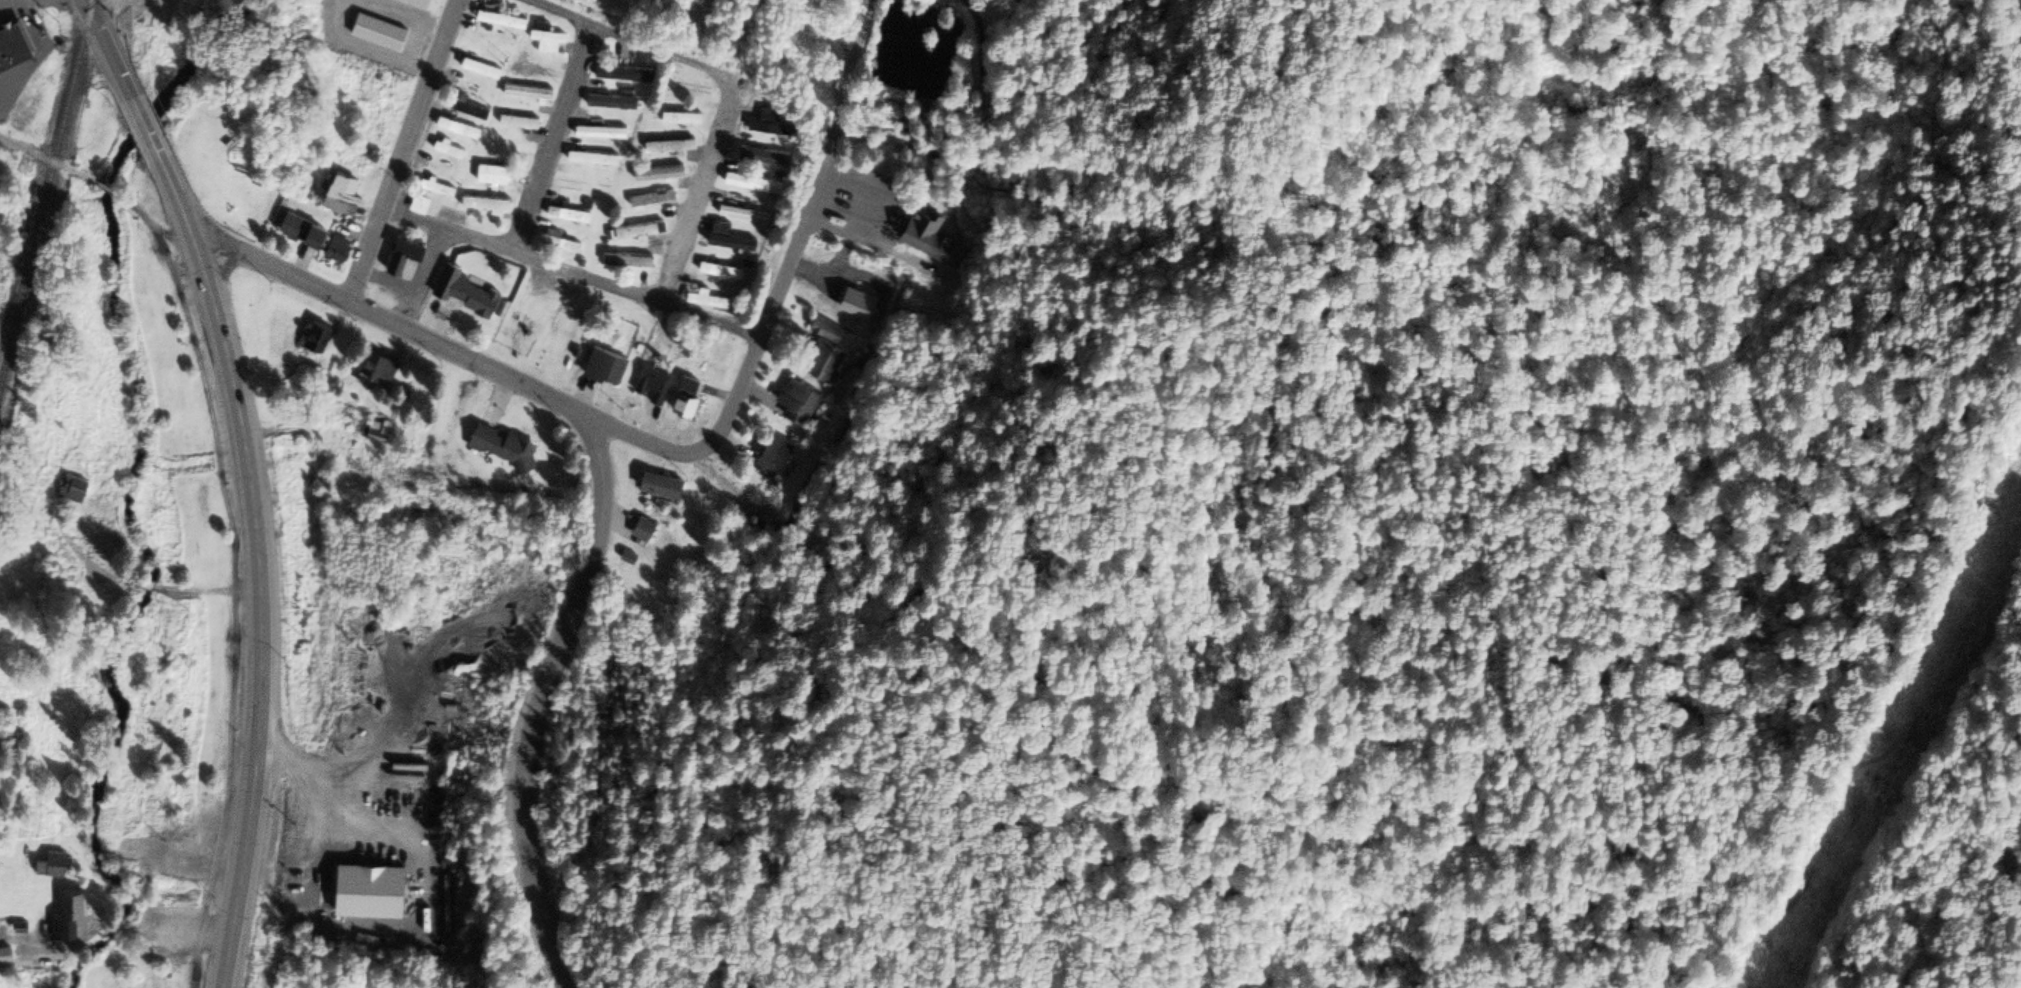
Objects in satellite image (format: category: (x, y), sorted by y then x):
building: (421, 3)
building: (504, 21)
building: (549, 40)
building: (14, 45)
road: (667, 53)
road: (113, 58)
road: (855, 60)
building: (483, 70)
building: (626, 75)
building: (530, 94)
building: (614, 103)
building: (470, 109)
building: (683, 119)
building: (521, 124)
building: (774, 126)
building: (459, 129)
road: (147, 132)
building: (603, 134)
road: (554, 139)
road: (27, 150)
building: (450, 151)
road: (403, 152)
building: (760, 159)
building: (595, 160)
road: (71, 171)
building: (662, 175)
building: (494, 176)
building: (756, 185)
building: (440, 189)
road: (109, 190)
building: (347, 194)
railway: (46, 196)
building: (655, 201)
building: (488, 205)
building: (421, 206)
building: (571, 216)
building: (746, 216)
building: (306, 230)
building: (637, 233)
road: (688, 233)
building: (732, 241)
road: (162, 245)
building: (340, 249)
building: (937, 251)
building: (408, 255)
building: (629, 262)
road: (570, 272)
building: (723, 272)
road: (775, 287)
building: (477, 298)
building: (708, 301)
building: (862, 304)
building: (836, 335)
building: (321, 338)
road: (452, 353)
building: (827, 363)
building: (608, 368)
building: (379, 371)
building: (654, 399)
building: (689, 399)
building: (800, 403)
building: (506, 448)
building: (774, 460)
river: (135, 480)
building: (665, 486)
building: (74, 491)
building: (646, 531)
road: (258, 561)
road: (232, 626)
road: (539, 702)
power tower: (1878, 781)
building: (55, 866)
building: (373, 901)
building: (70, 917)
building: (7, 956)

